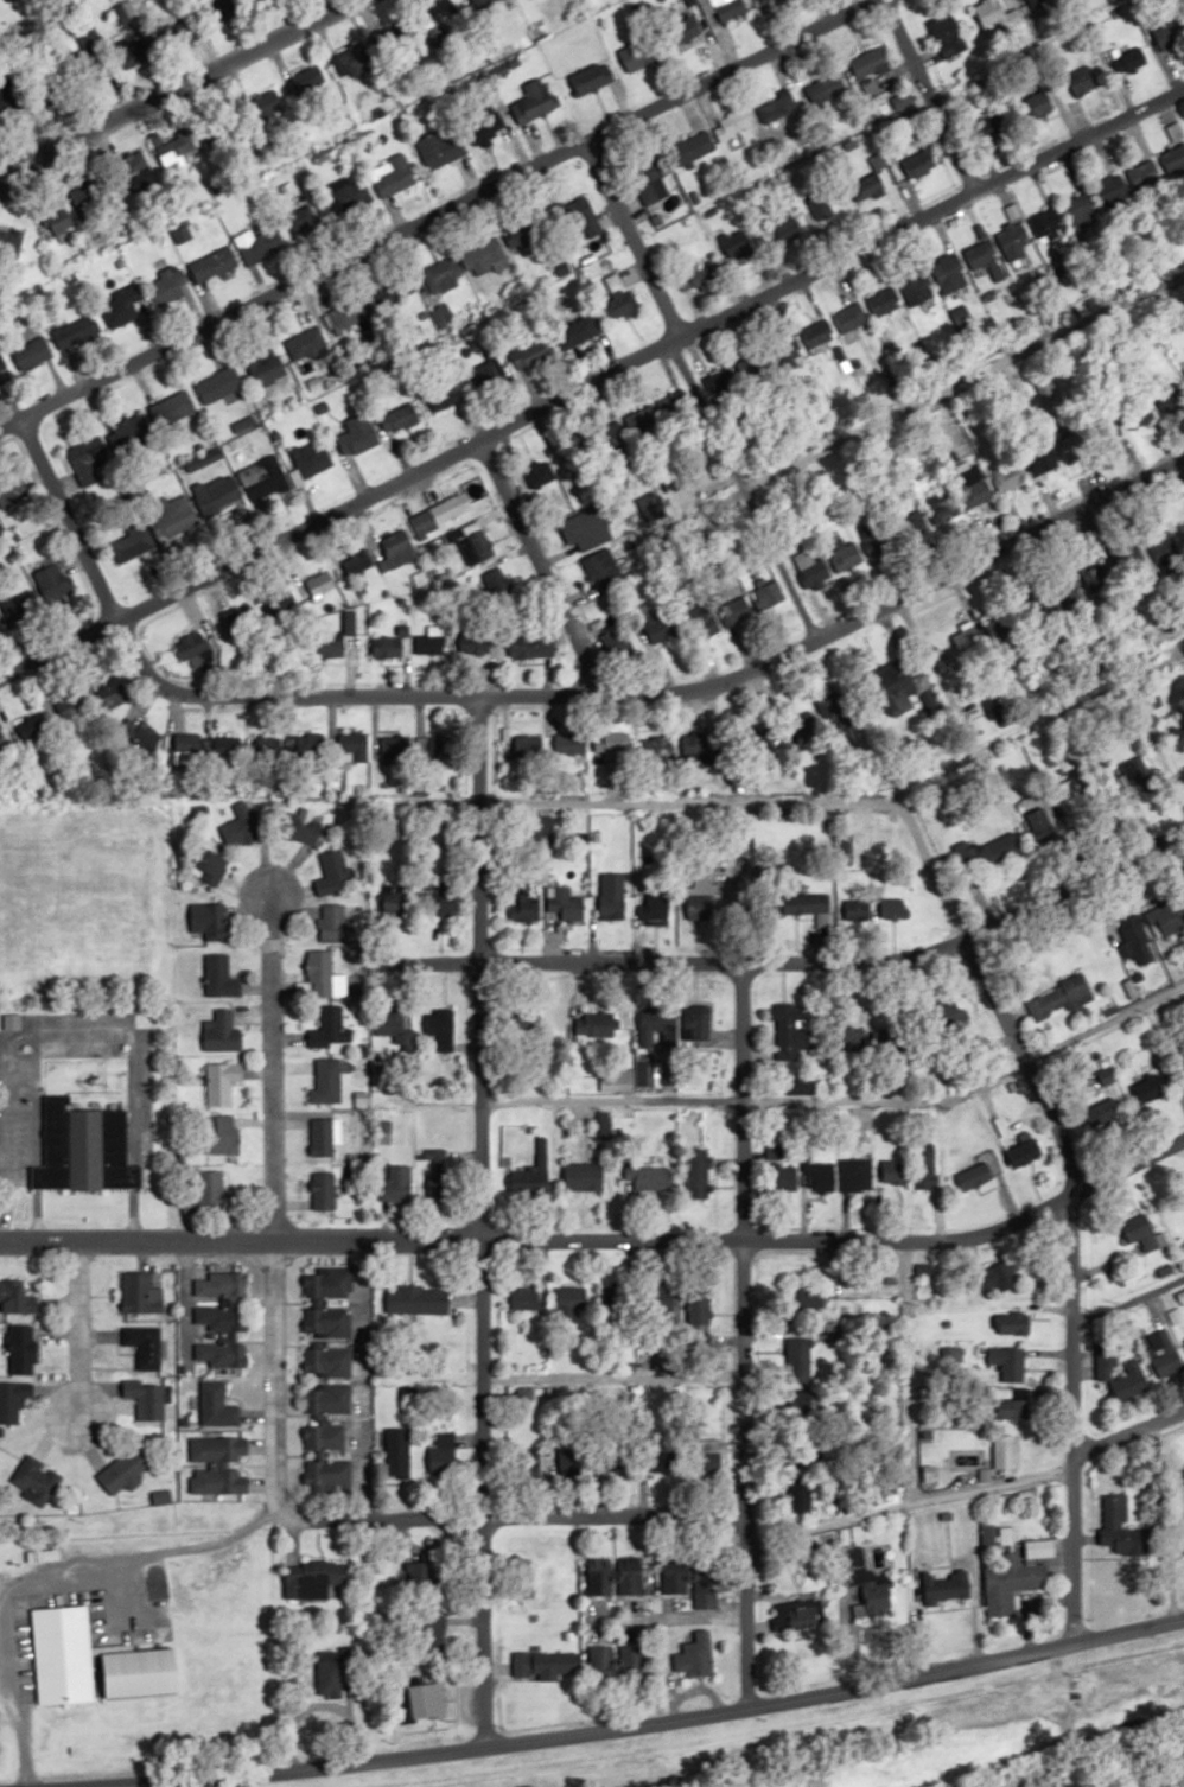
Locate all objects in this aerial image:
building: (490, 0)
building: (228, 5)
building: (728, 8)
building: (452, 15)
building: (687, 30)
building: (948, 34)
building: (1169, 37)
building: (392, 39)
building: (637, 52)
building: (134, 53)
building: (1129, 59)
building: (351, 61)
building: (872, 63)
building: (307, 77)
building: (592, 77)
road: (170, 80)
building: (1086, 81)
building: (826, 88)
road: (930, 93)
building: (534, 101)
building: (1039, 103)
building: (777, 109)
building: (732, 125)
building: (176, 147)
building: (692, 147)
building: (439, 148)
building: (919, 163)
building: (392, 174)
building: (1147, 177)
building: (649, 182)
building: (352, 197)
building: (1116, 197)
road: (425, 210)
building: (1082, 214)
building: (581, 220)
building: (59, 221)
building: (300, 222)
building: (1049, 225)
building: (788, 227)
building: (527, 230)
building: (11, 239)
building: (1014, 242)
building: (739, 244)
building: (257, 246)
building: (485, 256)
building: (208, 268)
building: (949, 273)
building: (441, 275)
building: (698, 276)
building: (167, 286)
building: (917, 290)
building: (394, 291)
building: (618, 299)
building: (883, 303)
building: (120, 306)
building: (352, 313)
building: (851, 318)
building: (581, 330)
building: (74, 332)
building: (817, 335)
building: (305, 344)
building: (31, 351)
building: (529, 354)
building: (265, 367)
building: (745, 369)
road: (590, 373)
road: (959, 374)
building: (484, 376)
building: (724, 382)
building: (218, 384)
road: (687, 386)
building: (444, 396)
building: (173, 408)
building: (399, 418)
building: (641, 420)
building: (139, 428)
building: (361, 431)
building: (1075, 445)
building: (311, 458)
building: (539, 473)
building: (1011, 475)
building: (268, 482)
building: (11, 489)
building: (959, 495)
building: (217, 496)
building: (650, 505)
road: (69, 513)
building: (440, 514)
building: (173, 519)
building: (586, 529)
building: (1182, 530)
building: (476, 545)
building: (131, 546)
road: (550, 547)
building: (399, 548)
building: (841, 551)
building: (357, 562)
building: (810, 567)
building: (603, 571)
building: (51, 578)
building: (320, 584)
building: (766, 596)
building: (19, 604)
building: (699, 617)
building: (242, 619)
building: (997, 625)
building: (661, 627)
building: (0, 635)
building: (429, 641)
building: (195, 643)
building: (482, 643)
building: (392, 644)
building: (618, 644)
building: (330, 646)
building: (534, 646)
road: (658, 672)
building: (897, 685)
building: (71, 707)
building: (839, 711)
building: (34, 724)
building: (146, 736)
building: (269, 742)
building: (311, 743)
building: (389, 743)
building: (227, 746)
building: (2, 748)
building: (352, 748)
building: (432, 748)
building: (696, 749)
building: (186, 752)
road: (610, 799)
road: (884, 807)
building: (243, 823)
building: (299, 826)
building: (210, 867)
building: (332, 875)
road: (1071, 876)
road: (478, 889)
building: (400, 898)
building: (441, 904)
building: (657, 908)
building: (702, 909)
building: (893, 909)
building: (1166, 920)
building: (209, 921)
building: (336, 926)
building: (1138, 942)
road: (682, 960)
building: (322, 974)
building: (219, 978)
road: (987, 992)
building: (1061, 998)
road: (1099, 1013)
parking lot: (66, 1020)
building: (390, 1024)
building: (598, 1026)
building: (331, 1029)
building: (441, 1029)
building: (696, 1030)
building: (791, 1030)
building: (650, 1031)
building: (221, 1034)
road: (81, 1036)
parking lot: (81, 1049)
road: (265, 1054)
building: (222, 1081)
building: (326, 1081)
building: (1151, 1086)
parking lot: (141, 1096)
road: (750, 1098)
parking lot: (23, 1115)
building: (221, 1133)
building: (323, 1136)
road: (34, 1139)
building: (84, 1149)
building: (1025, 1150)
building: (928, 1165)
building: (862, 1169)
building: (893, 1170)
building: (783, 1171)
building: (699, 1174)
building: (584, 1175)
building: (649, 1176)
building: (975, 1176)
building: (443, 1177)
building: (399, 1183)
building: (531, 1185)
building: (323, 1190)
building: (209, 1191)
building: (1146, 1238)
road: (601, 1242)
road: (741, 1251)
building: (1005, 1274)
building: (218, 1285)
building: (141, 1293)
building: (814, 1297)
building: (17, 1298)
building: (524, 1298)
building: (418, 1299)
building: (572, 1300)
building: (617, 1300)
building: (700, 1309)
building: (219, 1317)
building: (327, 1322)
building: (1013, 1323)
road: (76, 1333)
road: (1071, 1341)
building: (145, 1346)
building: (21, 1348)
building: (1165, 1353)
building: (218, 1354)
building: (800, 1359)
building: (1010, 1362)
building: (1108, 1368)
road: (272, 1378)
road: (611, 1378)
building: (13, 1399)
building: (327, 1399)
building: (148, 1400)
building: (217, 1406)
building: (1013, 1408)
road: (1127, 1419)
road: (480, 1423)
building: (1007, 1451)
building: (399, 1452)
building: (444, 1454)
building: (325, 1456)
building: (218, 1465)
building: (123, 1469)
building: (37, 1477)
building: (161, 1496)
building: (802, 1496)
road: (906, 1502)
road: (509, 1516)
building: (1121, 1526)
building: (859, 1564)
building: (426, 1573)
building: (676, 1575)
building: (635, 1576)
road: (44, 1577)
building: (600, 1577)
building: (317, 1578)
building: (1013, 1583)
building: (947, 1586)
building: (705, 1588)
building: (800, 1613)
building: (433, 1633)
building: (64, 1655)
building: (696, 1655)
building: (547, 1662)
building: (601, 1662)
building: (635, 1665)
building: (144, 1672)
building: (428, 1700)
road: (643, 1726)

